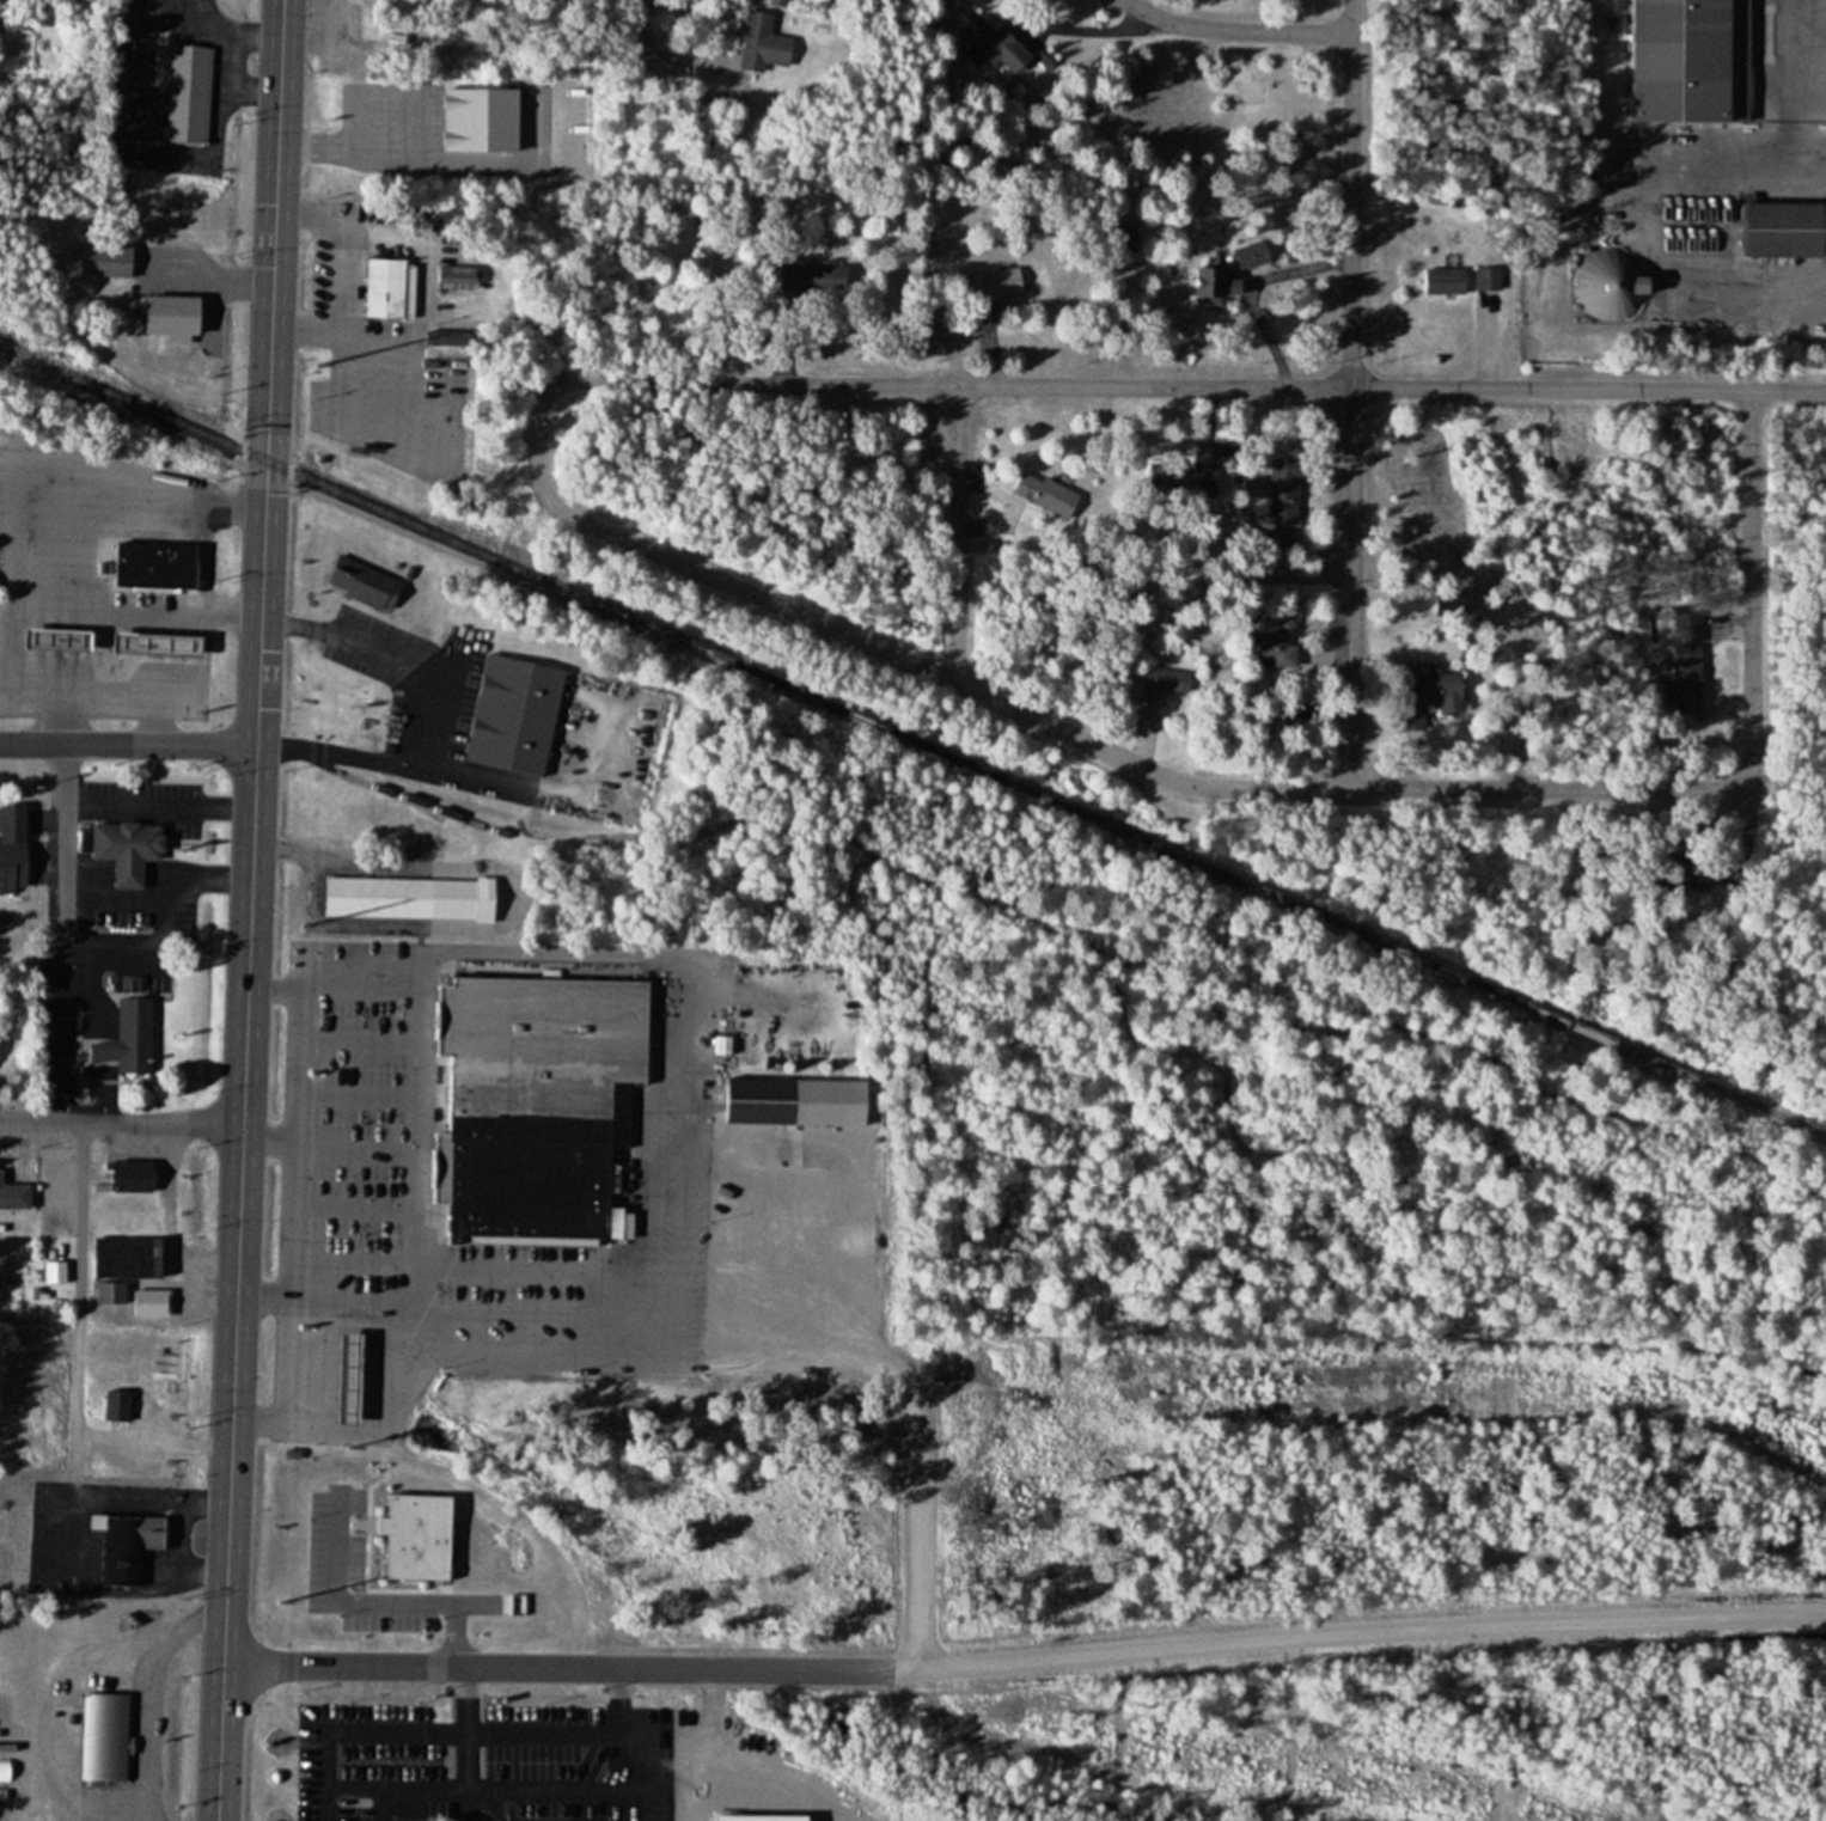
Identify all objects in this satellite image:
road: (639, 26)
road: (1235, 30)
building: (761, 43)
building: (990, 43)
building: (1690, 60)
building: (188, 93)
building: (478, 118)
building: (1783, 228)
building: (103, 259)
building: (1230, 271)
building: (1486, 277)
building: (1445, 280)
building: (997, 285)
building: (1611, 285)
building: (389, 287)
building: (171, 317)
power tower: (318, 362)
road: (1189, 386)
road: (1352, 392)
building: (1189, 482)
building: (1285, 490)
building: (1034, 494)
road: (955, 533)
building: (1281, 538)
building: (154, 566)
road: (1752, 578)
building: (355, 582)
building: (1421, 603)
building: (44, 638)
building: (1276, 641)
building: (151, 642)
road: (891, 654)
building: (1685, 665)
building: (1166, 680)
building: (1425, 698)
building: (513, 714)
railway: (912, 740)
road: (127, 747)
road: (1557, 787)
building: (457, 818)
building: (12, 847)
building: (121, 847)
building: (1673, 873)
building: (408, 897)
road: (249, 910)
power tower: (300, 922)
building: (128, 1037)
building: (795, 1102)
building: (535, 1106)
road: (121, 1123)
building: (132, 1177)
building: (13, 1194)
building: (121, 1258)
building: (55, 1272)
building: (110, 1293)
building: (151, 1303)
building: (347, 1377)
building: (117, 1406)
building: (120, 1558)
power tower: (279, 1601)
road: (550, 1668)
building: (104, 1737)
building: (5, 1771)
building: (440, 1820)

